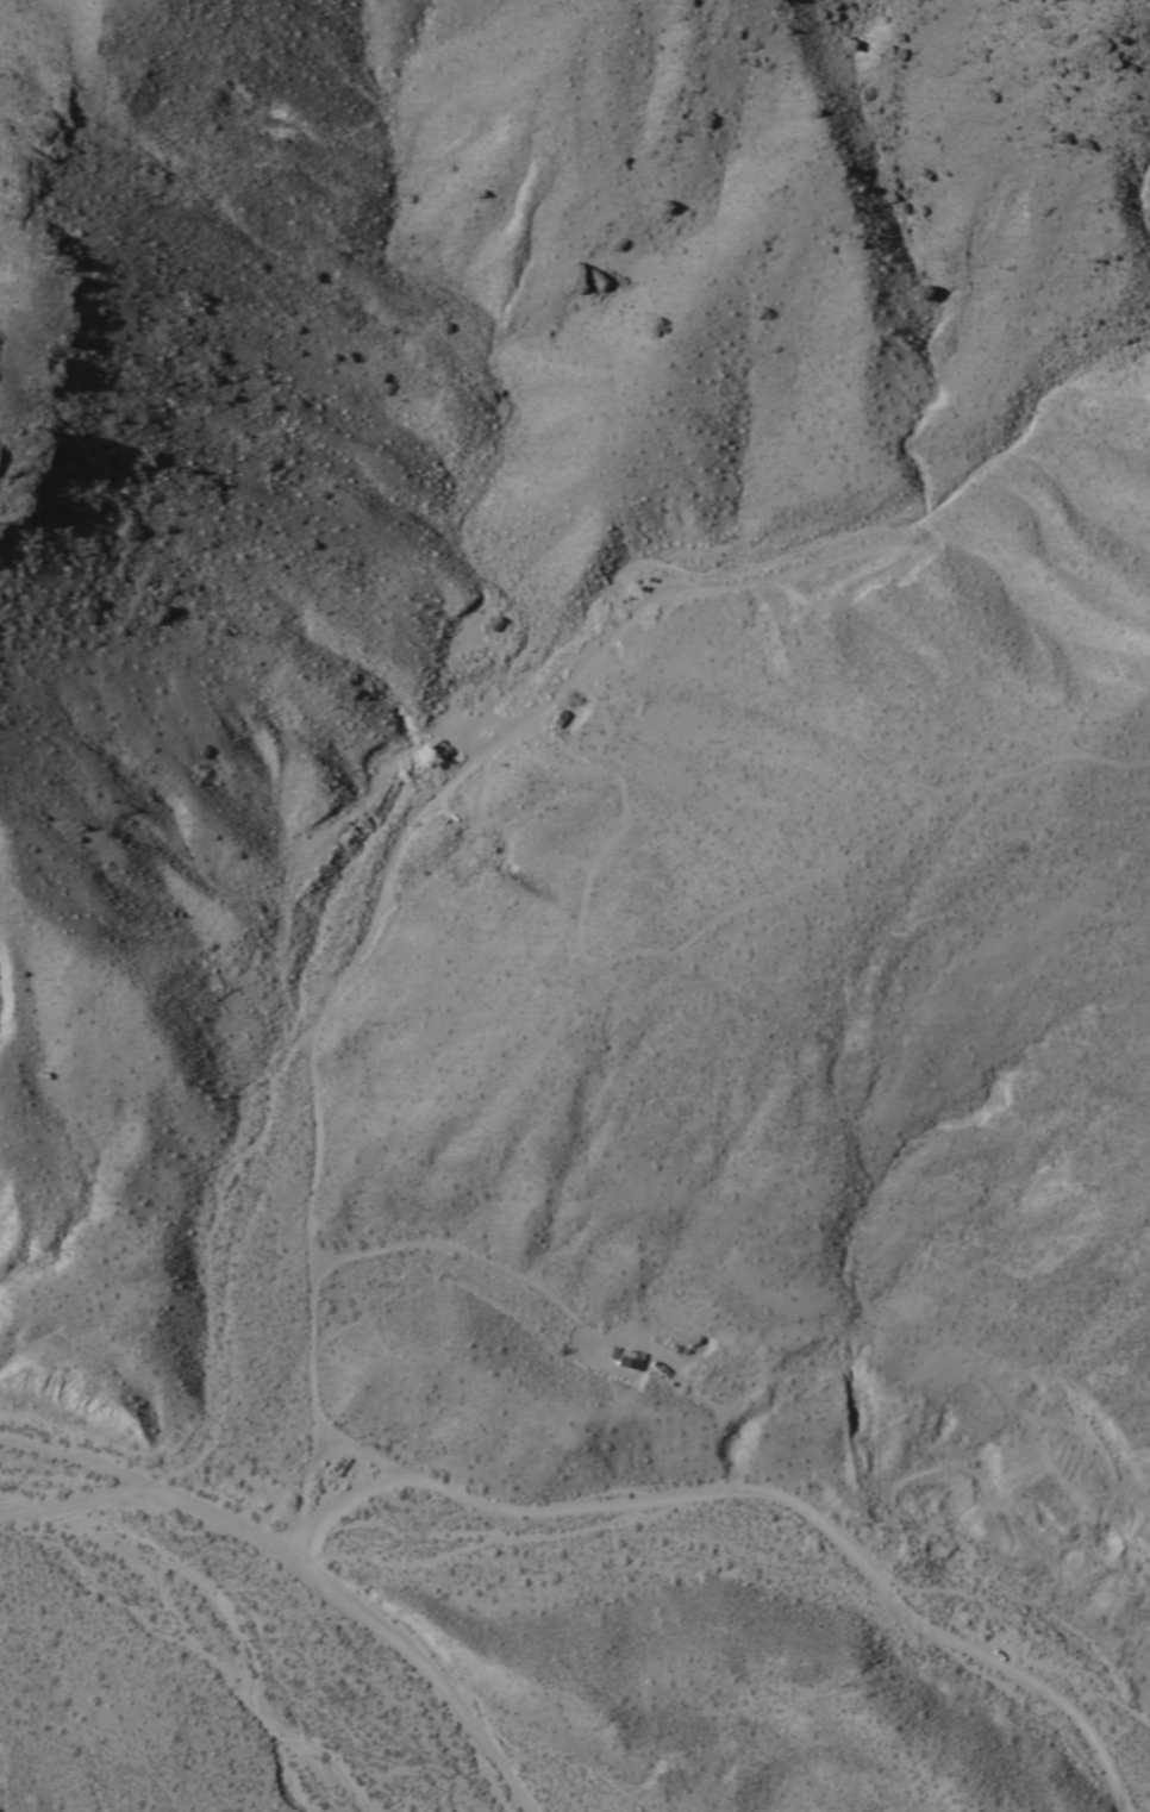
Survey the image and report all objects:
road: (485, 777)
road: (817, 868)
road: (457, 974)
road: (306, 1212)
road: (456, 1237)
building: (623, 1358)
road: (142, 1482)
road: (299, 1488)
road: (764, 1489)
road: (420, 1662)

